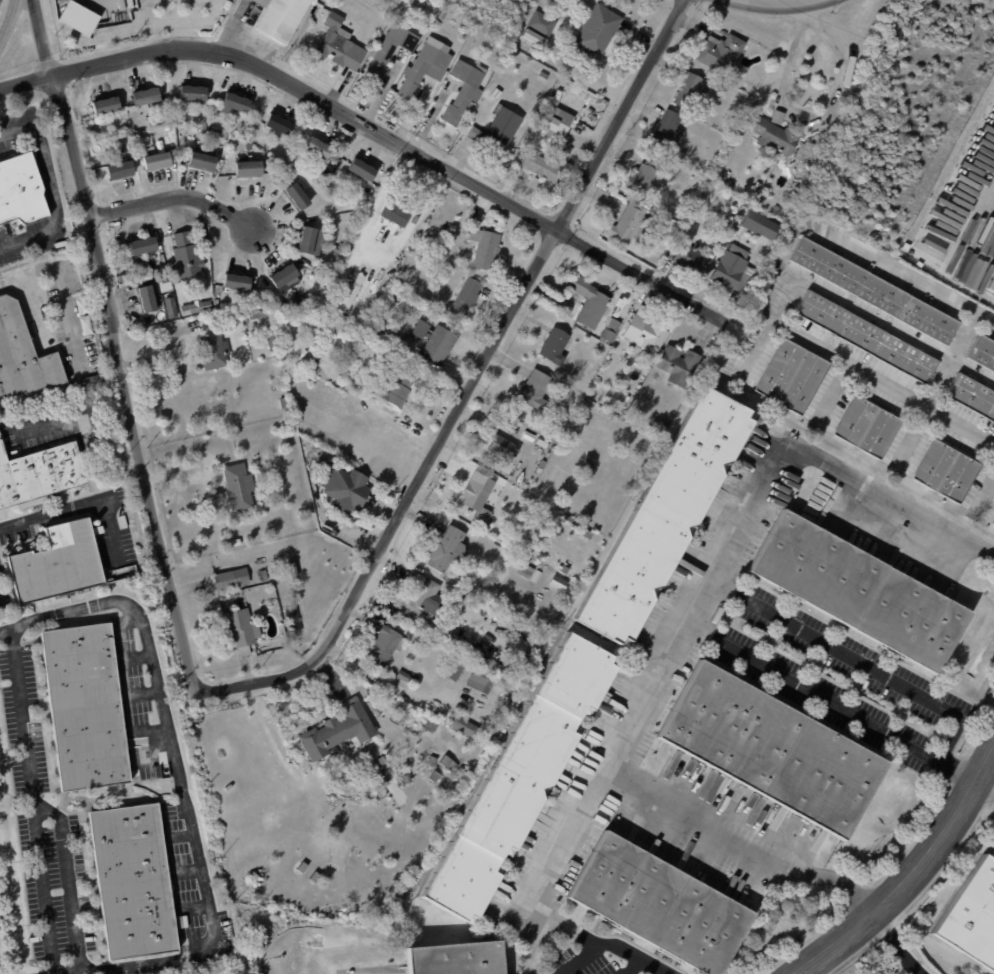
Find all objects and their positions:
building: (549, 0)
building: (409, 1)
road: (776, 5)
building: (557, 14)
building: (440, 17)
building: (277, 18)
road: (6, 19)
building: (78, 19)
building: (541, 24)
road: (230, 26)
building: (598, 31)
road: (41, 38)
building: (515, 43)
building: (340, 45)
building: (390, 51)
building: (724, 52)
building: (425, 69)
building: (468, 74)
building: (544, 75)
building: (691, 89)
building: (193, 92)
building: (496, 94)
building: (145, 95)
building: (234, 103)
building: (461, 104)
building: (106, 105)
road: (808, 115)
building: (279, 123)
building: (554, 123)
building: (205, 129)
road: (374, 129)
building: (498, 129)
building: (668, 131)
building: (214, 132)
building: (776, 136)
building: (249, 146)
building: (317, 146)
building: (564, 148)
building: (121, 149)
building: (808, 152)
building: (707, 157)
building: (94, 160)
building: (202, 160)
building: (157, 161)
building: (714, 163)
building: (249, 168)
building: (545, 168)
building: (120, 169)
building: (362, 170)
building: (645, 177)
road: (51, 188)
building: (21, 191)
building: (796, 192)
building: (297, 195)
road: (172, 197)
road: (379, 198)
building: (777, 210)
building: (389, 212)
road: (992, 217)
building: (629, 223)
building: (761, 224)
building: (14, 225)
building: (453, 228)
building: (735, 232)
building: (306, 239)
building: (143, 245)
building: (486, 248)
building: (338, 251)
building: (185, 256)
building: (690, 256)
building: (346, 270)
building: (734, 270)
building: (285, 277)
building: (237, 281)
building: (992, 285)
road: (60, 286)
road: (770, 286)
building: (876, 290)
building: (353, 291)
building: (466, 296)
building: (149, 297)
building: (295, 301)
building: (590, 301)
building: (82, 305)
building: (197, 307)
building: (282, 310)
building: (173, 311)
building: (258, 315)
road: (885, 322)
building: (86, 325)
building: (602, 325)
building: (646, 329)
building: (612, 330)
building: (867, 336)
building: (435, 341)
building: (272, 344)
building: (555, 346)
building: (295, 347)
building: (215, 350)
building: (983, 352)
building: (23, 355)
road: (953, 360)
building: (607, 364)
building: (679, 365)
building: (793, 376)
building: (93, 379)
road: (125, 383)
road: (470, 384)
building: (398, 388)
building: (322, 390)
building: (534, 390)
building: (973, 396)
building: (625, 398)
building: (285, 403)
road: (47, 420)
building: (284, 425)
building: (643, 426)
building: (869, 427)
building: (653, 429)
building: (501, 447)
building: (588, 465)
building: (541, 466)
building: (947, 472)
building: (40, 475)
building: (239, 487)
building: (345, 488)
building: (480, 496)
road: (55, 512)
building: (667, 517)
building: (122, 522)
building: (993, 523)
building: (98, 530)
road: (111, 530)
building: (237, 542)
building: (449, 550)
building: (57, 563)
building: (293, 569)
building: (526, 571)
building: (263, 576)
building: (231, 578)
building: (559, 583)
building: (855, 591)
building: (421, 601)
building: (294, 618)
building: (241, 630)
road: (687, 638)
building: (385, 643)
road: (858, 660)
building: (454, 668)
building: (402, 675)
building: (478, 679)
road: (833, 704)
building: (85, 707)
building: (465, 726)
building: (337, 731)
building: (772, 750)
building: (381, 760)
building: (450, 764)
building: (137, 773)
building: (435, 777)
building: (407, 779)
building: (520, 779)
road: (180, 781)
road: (984, 789)
road: (32, 800)
building: (445, 801)
building: (302, 867)
road: (561, 870)
road: (910, 875)
building: (315, 877)
road: (68, 882)
building: (133, 882)
building: (660, 905)
road: (527, 907)
building: (972, 917)
road: (897, 943)
road: (629, 954)
building: (455, 958)
road: (574, 958)
road: (626, 966)

